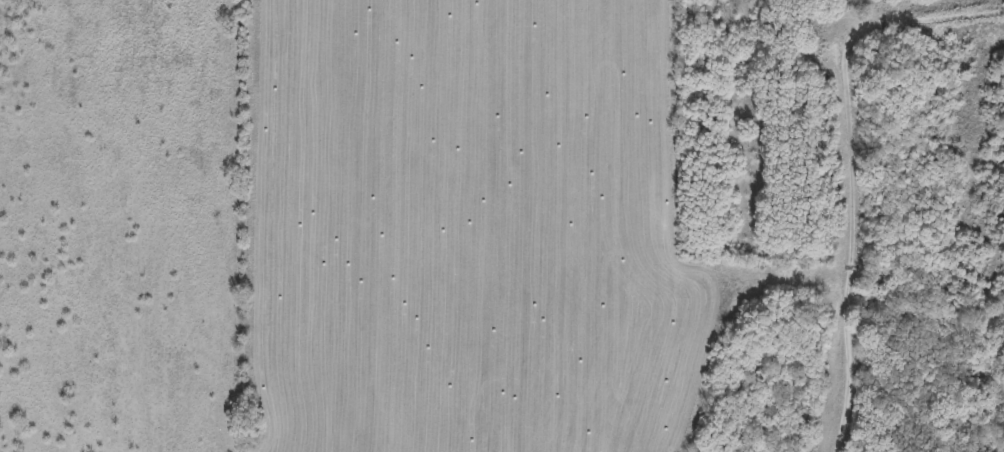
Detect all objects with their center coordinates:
road: (850, 164)

